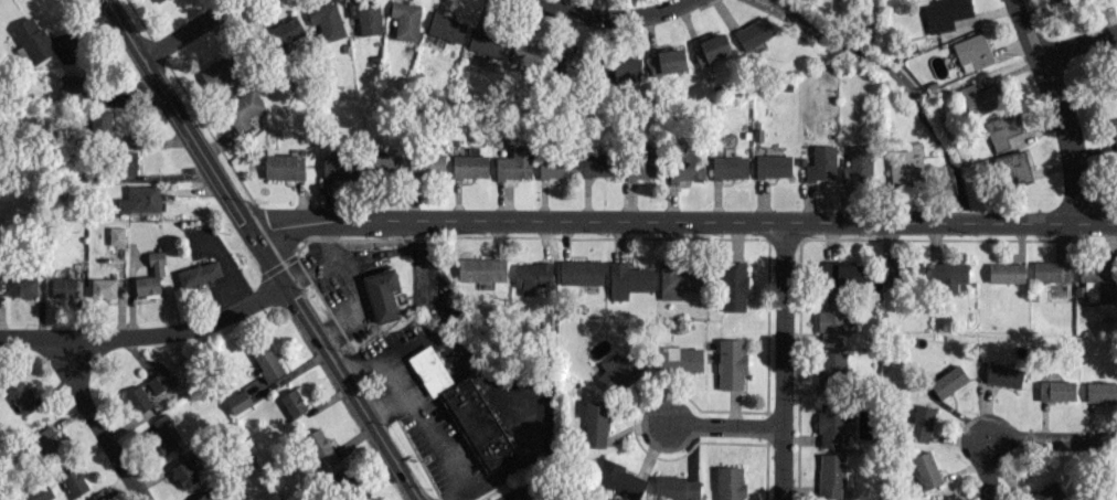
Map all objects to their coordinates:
building: (155, 0)
building: (1063, 1)
building: (945, 13)
building: (365, 15)
road: (614, 19)
building: (326, 20)
building: (405, 20)
road: (193, 26)
building: (445, 28)
building: (285, 31)
building: (753, 32)
building: (33, 39)
building: (487, 41)
building: (714, 46)
road: (1075, 46)
building: (972, 52)
building: (526, 54)
building: (699, 56)
building: (670, 60)
building: (572, 64)
building: (626, 66)
building: (221, 71)
building: (73, 85)
building: (981, 95)
building: (243, 108)
road: (1057, 110)
building: (100, 120)
building: (1001, 128)
building: (1114, 130)
building: (124, 162)
building: (821, 162)
building: (385, 163)
building: (426, 163)
building: (858, 163)
building: (514, 164)
building: (598, 164)
building: (284, 166)
building: (339, 166)
building: (469, 166)
building: (555, 166)
building: (641, 166)
building: (728, 166)
building: (772, 166)
building: (904, 166)
building: (1013, 167)
building: (685, 168)
building: (139, 199)
road: (681, 222)
building: (116, 234)
road: (265, 251)
building: (480, 268)
building: (1051, 270)
building: (581, 272)
building: (1006, 272)
building: (198, 273)
building: (904, 273)
building: (841, 274)
building: (150, 275)
building: (531, 276)
building: (948, 276)
building: (628, 279)
building: (678, 279)
building: (1097, 280)
building: (733, 285)
building: (23, 286)
building: (63, 286)
building: (103, 287)
building: (381, 292)
building: (831, 322)
road: (148, 334)
building: (678, 359)
building: (266, 361)
road: (780, 361)
building: (731, 363)
road: (361, 366)
building: (618, 371)
building: (831, 371)
building: (1003, 374)
building: (168, 379)
building: (948, 381)
building: (1055, 390)
building: (1100, 391)
building: (21, 395)
building: (138, 398)
road: (383, 400)
building: (237, 401)
building: (292, 402)
building: (464, 407)
road: (417, 412)
road: (95, 422)
building: (595, 423)
road: (720, 423)
building: (918, 423)
building: (830, 424)
road: (970, 426)
building: (163, 433)
road: (1052, 438)
building: (47, 442)
building: (319, 448)
road: (524, 455)
building: (187, 469)
building: (926, 469)
road: (982, 471)
building: (830, 475)
building: (619, 479)
building: (74, 481)
building: (728, 482)
building: (675, 488)
building: (39, 492)
building: (203, 496)
building: (942, 499)

